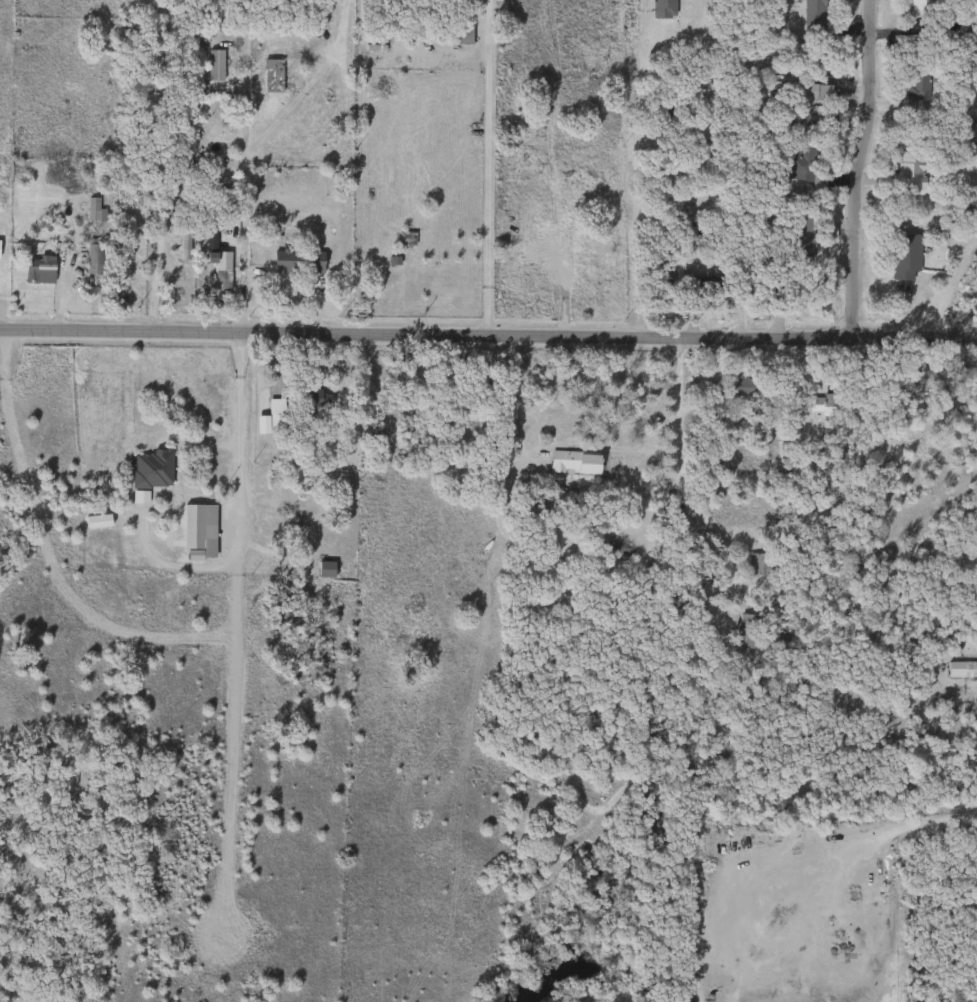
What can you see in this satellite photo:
building: (920, 8)
building: (661, 9)
building: (812, 15)
building: (214, 65)
road: (243, 76)
building: (270, 76)
building: (915, 82)
building: (786, 91)
road: (342, 130)
building: (799, 163)
road: (859, 167)
road: (486, 168)
building: (907, 170)
road: (627, 197)
building: (92, 211)
building: (502, 219)
building: (403, 239)
road: (242, 244)
building: (902, 256)
building: (513, 257)
building: (90, 265)
road: (155, 269)
building: (37, 270)
building: (220, 280)
road: (488, 335)
building: (745, 386)
building: (479, 387)
road: (518, 395)
building: (309, 398)
building: (827, 406)
building: (273, 415)
road: (679, 446)
building: (573, 463)
building: (149, 469)
road: (238, 481)
building: (191, 527)
road: (48, 548)
building: (762, 565)
road: (174, 567)
building: (323, 570)
building: (973, 605)
building: (528, 607)
building: (749, 631)
building: (952, 671)
road: (230, 779)
road: (946, 818)

